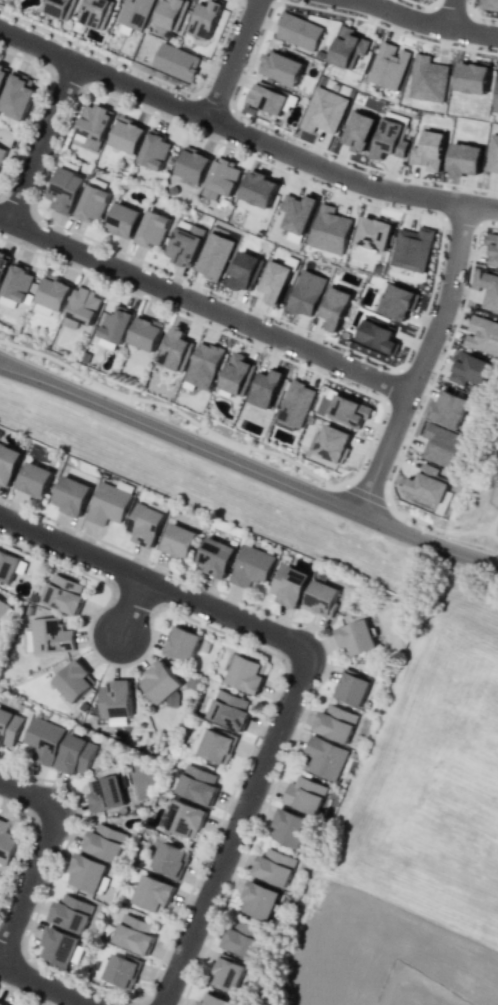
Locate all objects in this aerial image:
building: (490, 4)
building: (60, 8)
building: (96, 13)
building: (134, 13)
road: (451, 13)
building: (170, 14)
building: (206, 19)
road: (425, 22)
building: (298, 31)
street lamp: (456, 44)
road: (232, 58)
building: (176, 62)
building: (388, 65)
building: (281, 68)
building: (2, 73)
building: (472, 78)
building: (427, 79)
building: (17, 96)
building: (268, 97)
building: (496, 98)
building: (323, 111)
building: (92, 125)
street lamp: (190, 127)
building: (358, 131)
road: (244, 134)
building: (127, 135)
street lamp: (291, 138)
building: (389, 140)
road: (40, 141)
building: (154, 150)
building: (428, 150)
building: (1, 153)
building: (492, 154)
building: (464, 159)
building: (192, 164)
building: (220, 179)
building: (257, 190)
street lamp: (477, 190)
street lamp: (363, 198)
building: (93, 200)
building: (298, 212)
building: (123, 220)
building: (152, 229)
building: (330, 230)
building: (373, 233)
street lamp: (97, 243)
building: (184, 243)
building: (411, 249)
building: (493, 249)
building: (213, 256)
building: (3, 263)
building: (245, 272)
building: (276, 280)
building: (17, 283)
street lamp: (435, 288)
building: (306, 293)
building: (52, 295)
building: (398, 302)
road: (204, 305)
building: (335, 307)
building: (82, 308)
street lamp: (175, 309)
street lamp: (277, 320)
building: (146, 333)
building: (378, 335)
building: (482, 335)
building: (177, 350)
road: (421, 363)
building: (204, 364)
building: (469, 369)
street lamp: (325, 373)
building: (238, 375)
street lamp: (432, 377)
street lamp: (88, 383)
building: (266, 388)
building: (296, 403)
building: (449, 408)
building: (349, 410)
park: (175, 413)
street lamp: (204, 435)
building: (333, 444)
building: (441, 444)
building: (8, 463)
street lamp: (363, 464)
road: (247, 469)
building: (35, 480)
street lamp: (321, 483)
building: (427, 484)
road: (366, 494)
building: (72, 496)
building: (110, 502)
building: (145, 525)
street lamp: (440, 533)
building: (179, 541)
building: (217, 557)
street lamp: (149, 562)
building: (8, 566)
building: (252, 566)
road: (152, 582)
building: (290, 585)
building: (64, 594)
building: (322, 595)
road: (131, 605)
building: (3, 607)
building: (357, 637)
building: (182, 643)
street lamp: (106, 664)
building: (246, 674)
building: (75, 681)
building: (161, 682)
building: (352, 688)
building: (116, 701)
building: (229, 710)
building: (335, 723)
building: (9, 727)
building: (44, 740)
building: (217, 746)
building: (76, 755)
building: (324, 758)
building: (198, 785)
building: (107, 794)
building: (305, 795)
building: (185, 819)
building: (290, 827)
road: (234, 829)
building: (105, 842)
building: (6, 843)
crop: (422, 846)
road: (38, 853)
building: (171, 860)
building: (274, 867)
building: (89, 873)
building: (153, 894)
building: (259, 900)
building: (71, 913)
building: (135, 934)
building: (241, 940)
building: (59, 946)
building: (122, 970)
building: (228, 974)
road: (45, 985)
building: (212, 999)
building: (2, 1003)

